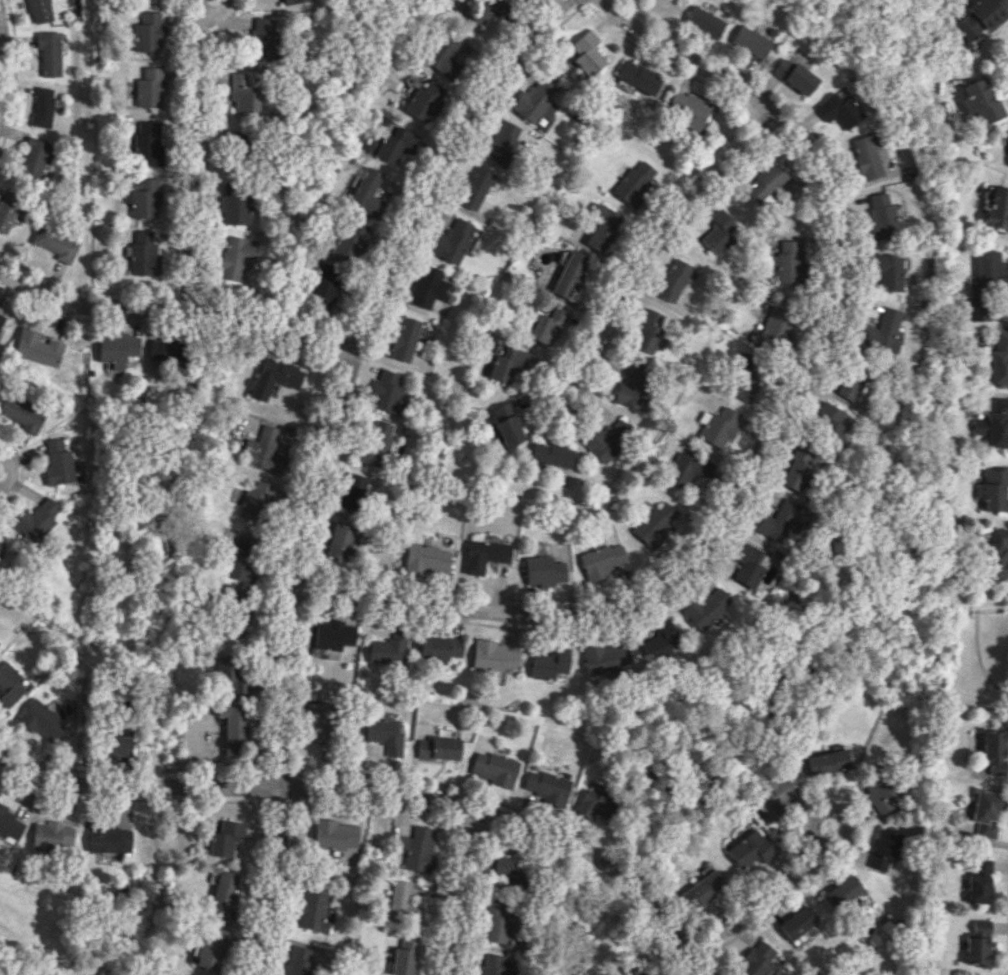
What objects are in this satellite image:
building: (40, 10)
building: (487, 10)
road: (213, 12)
building: (980, 17)
building: (705, 22)
building: (148, 32)
building: (263, 38)
building: (751, 41)
building: (50, 53)
building: (586, 54)
building: (446, 55)
road: (689, 58)
road: (1, 59)
road: (1007, 73)
building: (793, 75)
building: (252, 78)
building: (637, 78)
building: (149, 87)
building: (242, 94)
building: (534, 98)
building: (424, 101)
building: (980, 102)
building: (43, 106)
building: (686, 109)
building: (837, 110)
building: (393, 142)
building: (499, 142)
building: (147, 144)
building: (865, 156)
building: (36, 157)
road: (190, 158)
building: (764, 182)
building: (634, 183)
building: (474, 187)
building: (367, 192)
building: (141, 197)
building: (233, 206)
building: (995, 207)
building: (7, 208)
building: (881, 216)
building: (600, 228)
road: (656, 229)
building: (719, 231)
building: (351, 240)
building: (451, 240)
building: (54, 243)
building: (141, 253)
building: (235, 256)
building: (788, 262)
building: (887, 271)
building: (988, 272)
building: (569, 277)
building: (672, 280)
building: (326, 286)
building: (427, 286)
road: (176, 309)
building: (976, 309)
building: (1, 319)
building: (547, 325)
building: (777, 326)
building: (647, 330)
building: (880, 332)
building: (404, 339)
building: (36, 347)
building: (116, 347)
building: (170, 349)
building: (999, 359)
building: (507, 363)
building: (274, 376)
building: (744, 382)
building: (850, 383)
building: (634, 386)
building: (386, 391)
road: (563, 410)
building: (21, 413)
building: (830, 420)
building: (506, 425)
building: (995, 425)
building: (718, 426)
building: (609, 439)
building: (377, 442)
building: (264, 451)
building: (551, 454)
road: (322, 459)
building: (58, 463)
building: (795, 469)
road: (9, 470)
building: (688, 471)
building: (992, 488)
building: (352, 491)
building: (254, 501)
building: (37, 519)
building: (777, 521)
road: (708, 522)
building: (655, 523)
building: (997, 553)
building: (485, 555)
building: (428, 558)
building: (602, 560)
building: (240, 563)
building: (543, 570)
building: (705, 606)
building: (333, 634)
building: (659, 641)
building: (389, 647)
building: (441, 647)
building: (493, 655)
building: (605, 657)
building: (549, 665)
building: (224, 667)
building: (9, 684)
building: (231, 685)
building: (319, 719)
building: (47, 724)
building: (232, 726)
building: (385, 735)
building: (117, 742)
building: (438, 748)
building: (994, 750)
building: (828, 761)
building: (493, 767)
building: (544, 786)
road: (314, 788)
building: (879, 792)
building: (773, 796)
building: (592, 804)
road: (829, 808)
building: (985, 813)
building: (11, 823)
building: (380, 826)
building: (335, 833)
building: (51, 835)
building: (223, 837)
building: (108, 838)
building: (417, 848)
building: (751, 849)
building: (883, 849)
building: (981, 867)
building: (505, 870)
building: (703, 889)
building: (978, 889)
road: (459, 891)
building: (843, 892)
building: (222, 895)
building: (403, 904)
road: (755, 905)
building: (311, 909)
road: (659, 919)
building: (495, 922)
building: (798, 926)
building: (979, 943)
building: (209, 947)
building: (404, 956)
building: (758, 959)
building: (297, 960)
building: (491, 964)
road: (1007, 968)
building: (634, 972)

